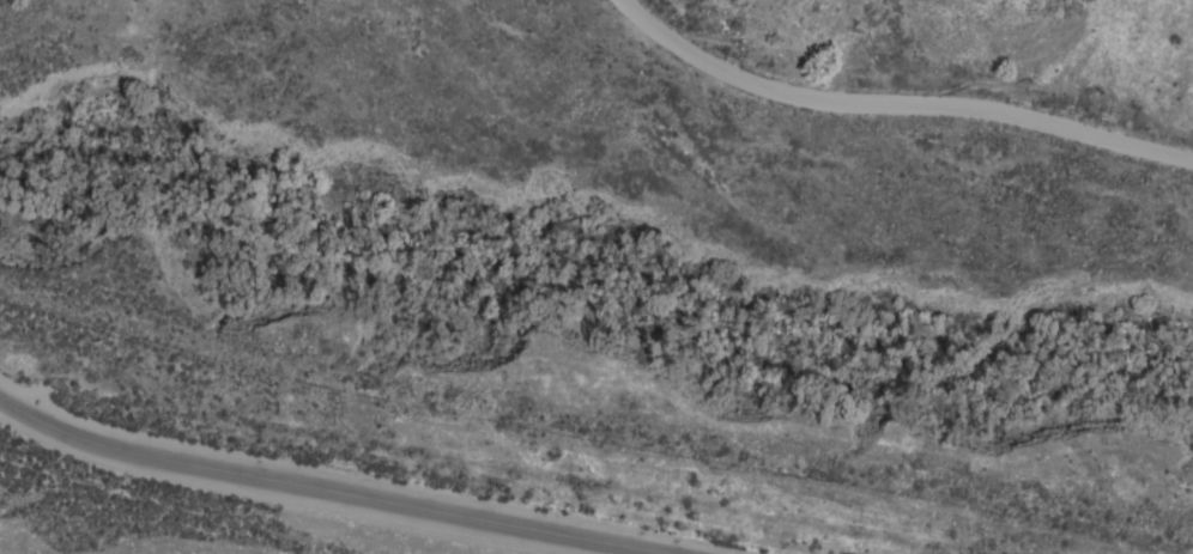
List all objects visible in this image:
road: (897, 110)
road: (331, 489)

